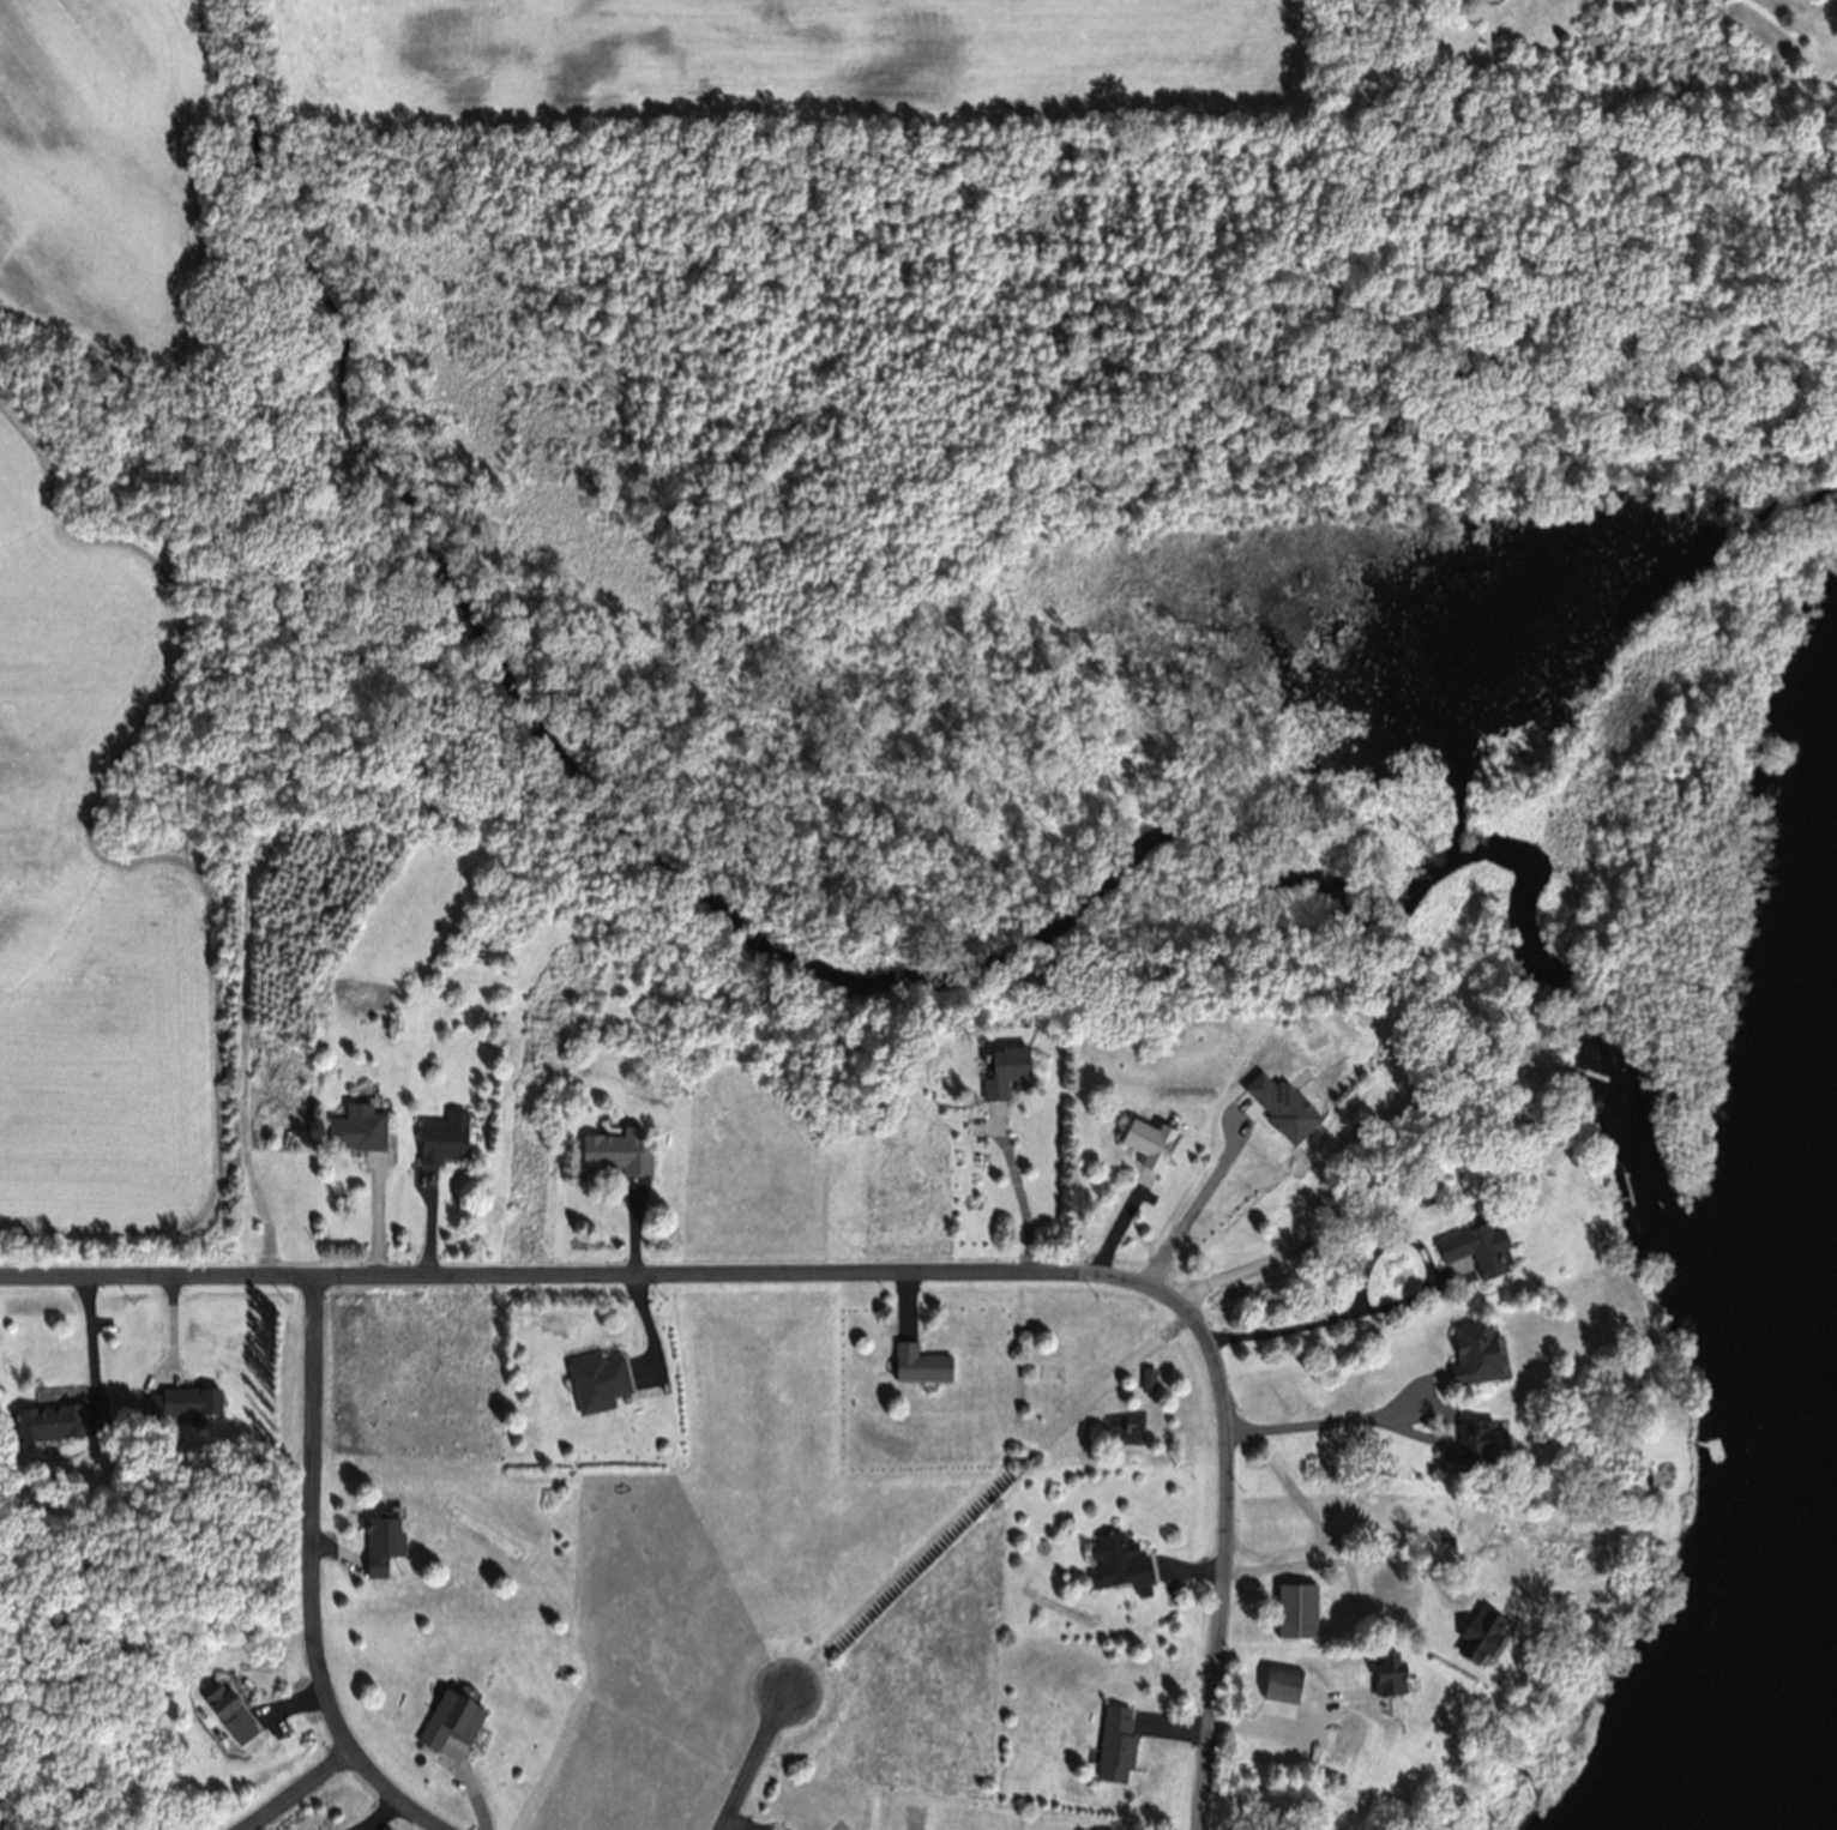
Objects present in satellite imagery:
building: (1496, 0)
building: (1005, 1078)
building: (357, 1134)
building: (444, 1145)
building: (1146, 1150)
building: (618, 1158)
road: (1018, 1191)
building: (1474, 1256)
road: (861, 1272)
road: (1398, 1298)
building: (1475, 1358)
building: (920, 1370)
building: (1148, 1385)
building: (598, 1389)
building: (183, 1407)
road: (1327, 1415)
building: (49, 1427)
building: (1477, 1444)
building: (381, 1548)
building: (1119, 1569)
road: (313, 1571)
building: (1297, 1614)
building: (1477, 1638)
building: (1389, 1678)
building: (1281, 1688)
building: (230, 1718)
road: (1312, 1722)
building: (451, 1723)
building: (1115, 1748)
road: (758, 1760)
river: (1802, 1765)
road: (303, 1799)

